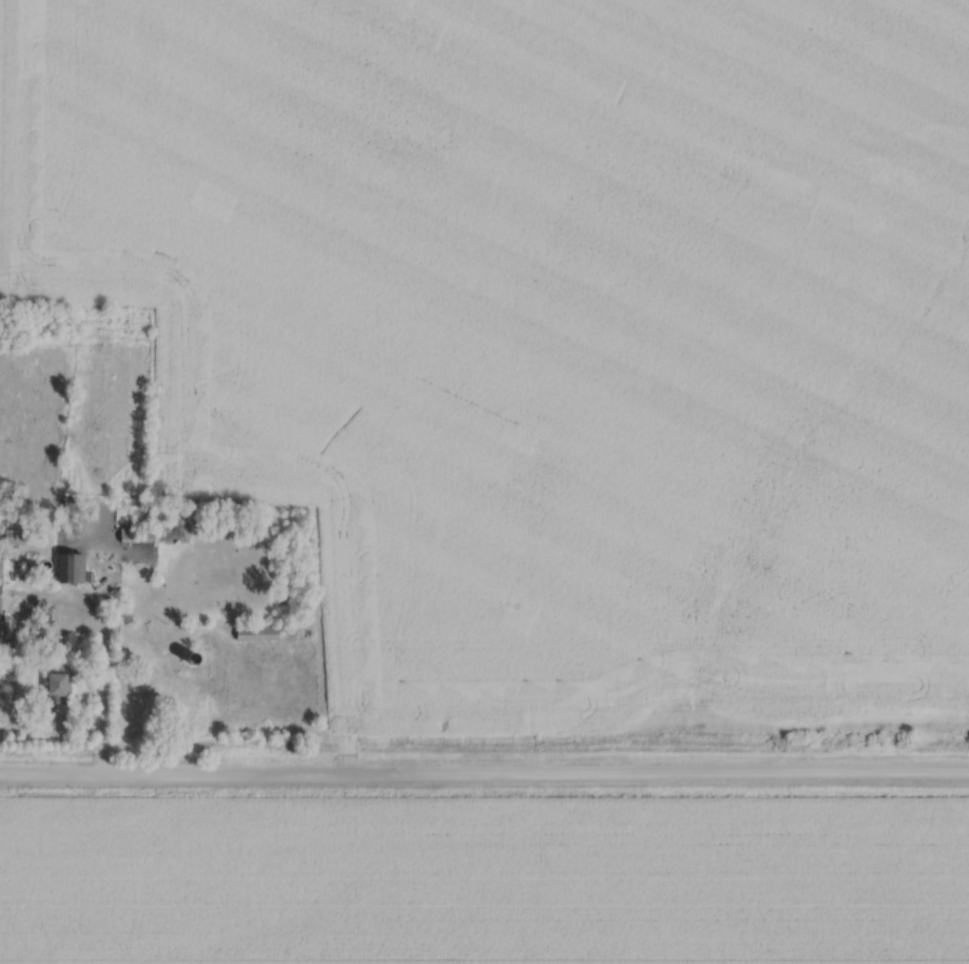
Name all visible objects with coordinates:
building: (138, 533)
building: (17, 535)
building: (75, 565)
building: (1, 604)
road: (37, 628)
building: (259, 631)
building: (63, 680)
road: (104, 701)
road: (484, 780)

